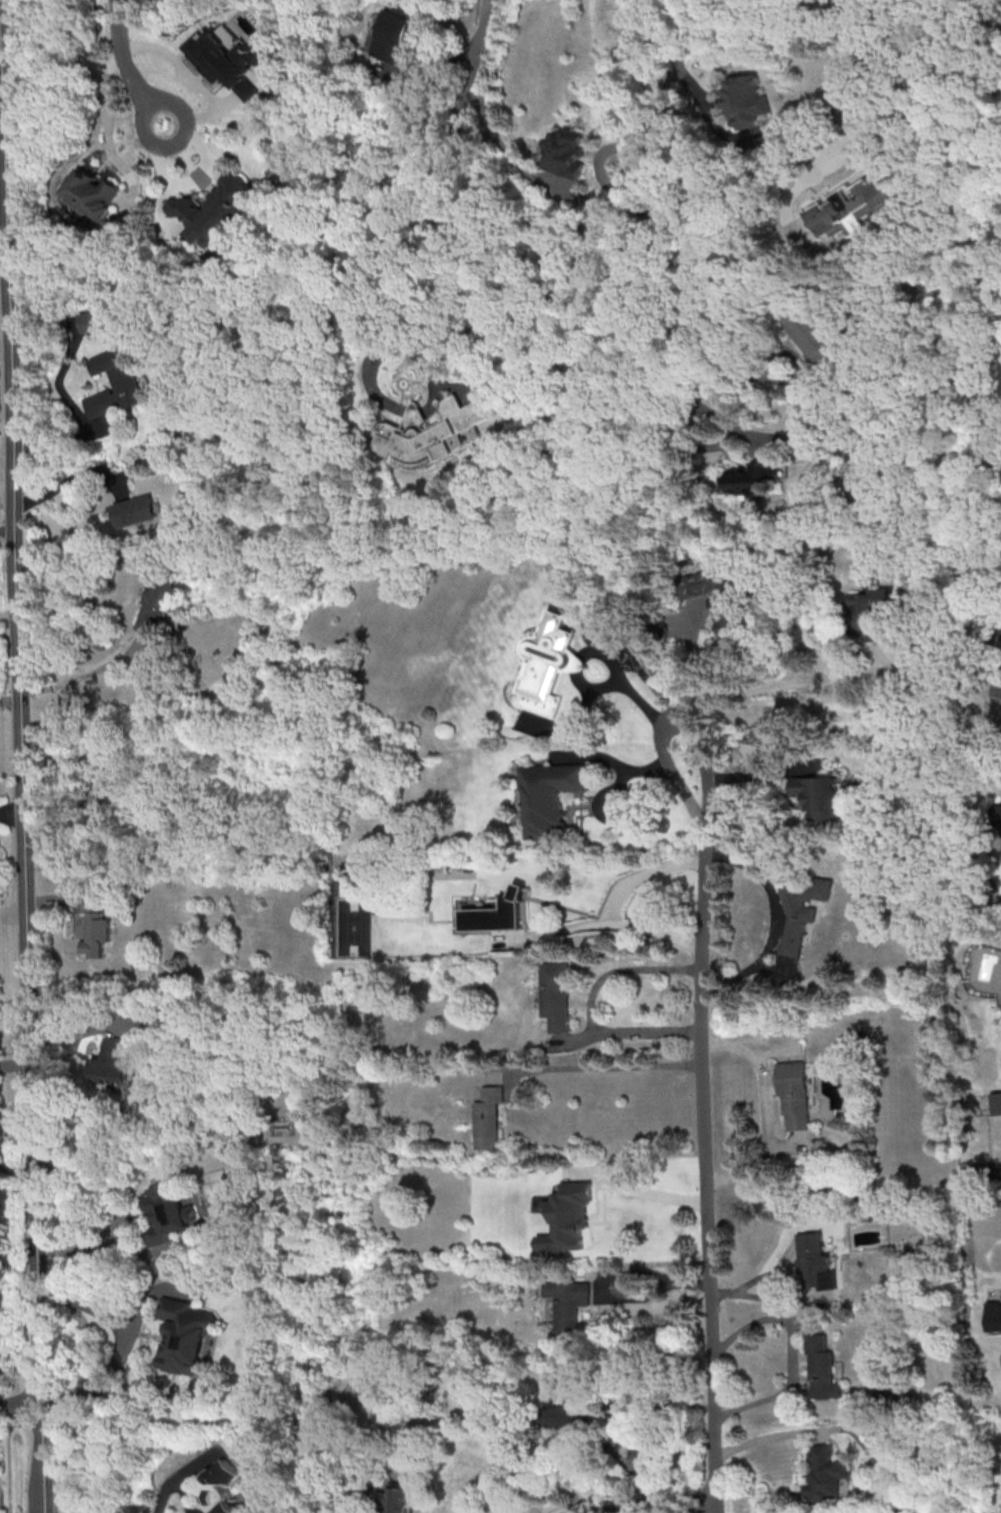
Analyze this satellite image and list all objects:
road: (681, 19)
building: (394, 32)
road: (896, 38)
road: (475, 54)
building: (235, 60)
road: (124, 65)
road: (196, 80)
building: (744, 100)
road: (702, 104)
road: (651, 123)
road: (823, 141)
building: (567, 153)
road: (191, 181)
building: (90, 192)
building: (854, 207)
building: (216, 209)
building: (97, 320)
road: (500, 322)
road: (641, 324)
building: (812, 336)
road: (722, 371)
building: (115, 382)
building: (432, 434)
road: (62, 438)
building: (848, 450)
building: (751, 475)
road: (64, 483)
building: (135, 510)
building: (716, 599)
building: (153, 606)
building: (869, 609)
road: (7, 613)
road: (8, 628)
building: (994, 628)
building: (548, 663)
road: (18, 667)
road: (680, 670)
road: (78, 674)
road: (826, 680)
building: (996, 686)
road: (602, 688)
road: (9, 698)
building: (1000, 722)
road: (675, 724)
road: (615, 763)
road: (620, 787)
building: (818, 796)
building: (549, 797)
road: (11, 813)
building: (996, 814)
road: (641, 873)
building: (496, 914)
road: (599, 923)
building: (797, 923)
building: (94, 925)
road: (621, 971)
building: (555, 995)
road: (630, 1033)
building: (113, 1061)
road: (14, 1062)
road: (598, 1068)
building: (793, 1092)
building: (996, 1103)
road: (766, 1110)
building: (488, 1118)
road: (704, 1172)
road: (652, 1192)
building: (169, 1212)
road: (118, 1213)
building: (566, 1217)
building: (815, 1262)
road: (651, 1293)
road: (769, 1298)
road: (83, 1301)
building: (567, 1303)
building: (992, 1316)
road: (38, 1317)
building: (187, 1336)
road: (790, 1353)
road: (111, 1359)
building: (823, 1369)
road: (20, 1403)
building: (558, 1415)
road: (766, 1440)
road: (8, 1457)
road: (41, 1457)
building: (824, 1473)
road: (177, 1479)
building: (225, 1490)
building: (396, 1501)
road: (661, 1506)

